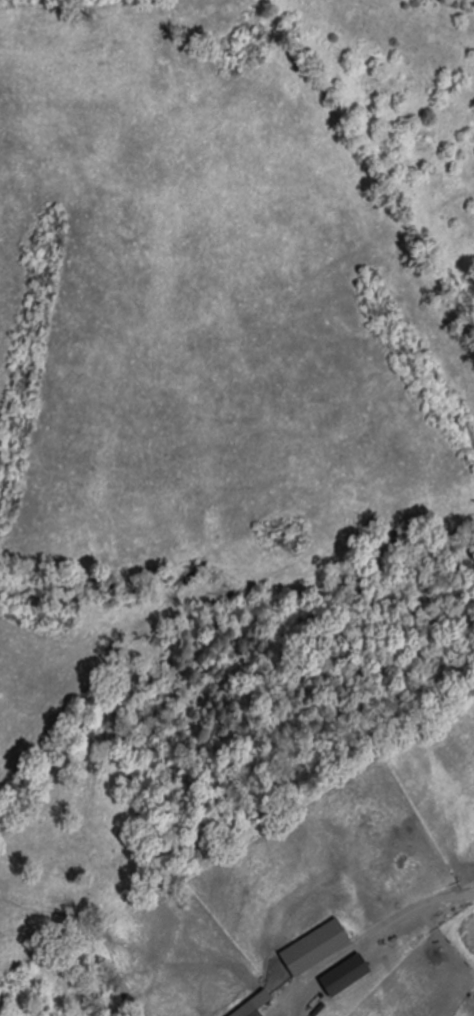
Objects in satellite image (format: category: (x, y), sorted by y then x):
building: (470, 935)
building: (319, 948)
building: (351, 976)
building: (265, 1014)

